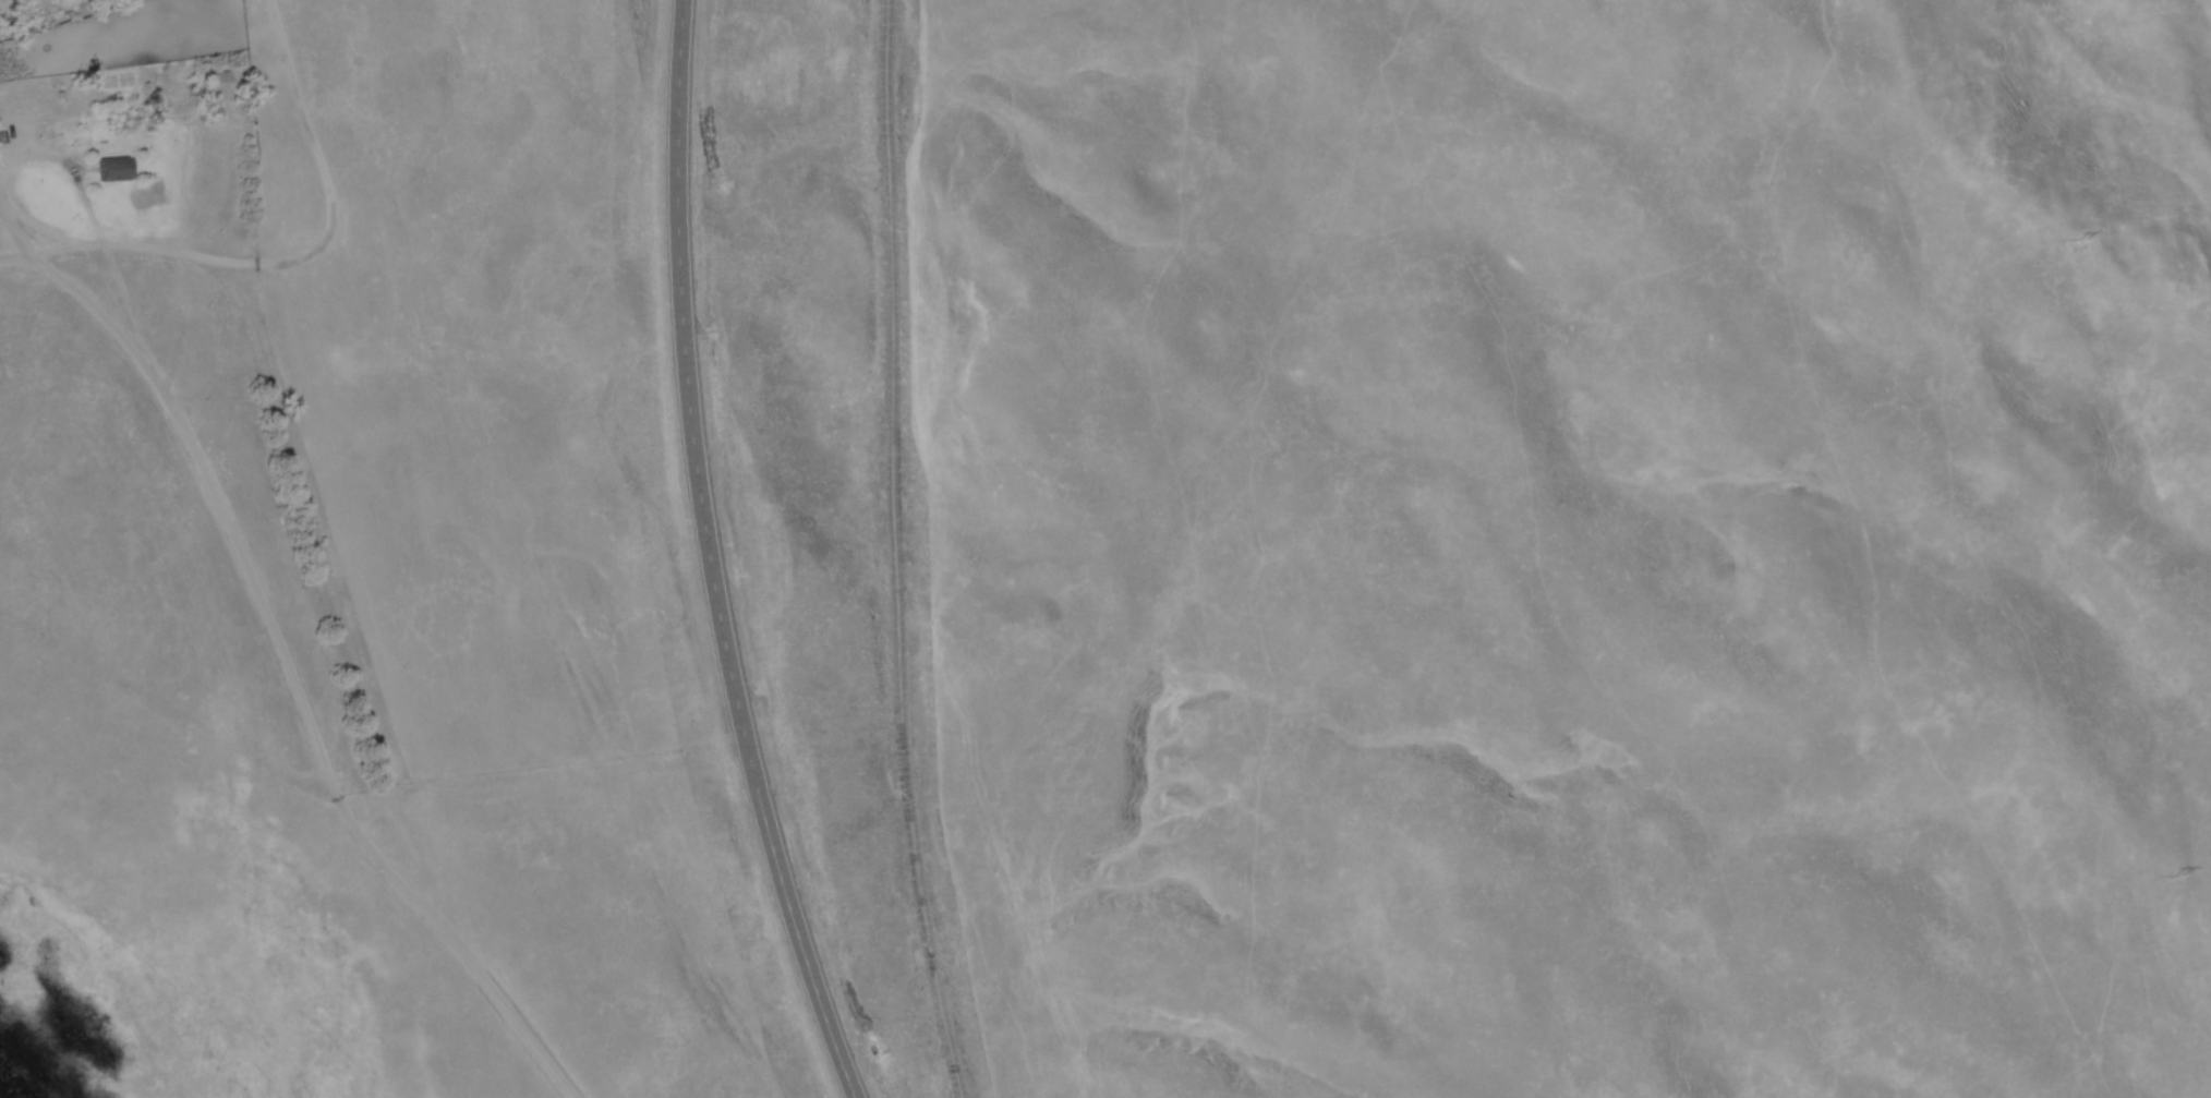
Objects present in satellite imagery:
building: (217, 88)
road: (22, 165)
building: (110, 172)
power tower: (2082, 240)
road: (916, 552)
road: (713, 557)
road: (330, 755)
power tower: (2178, 876)

